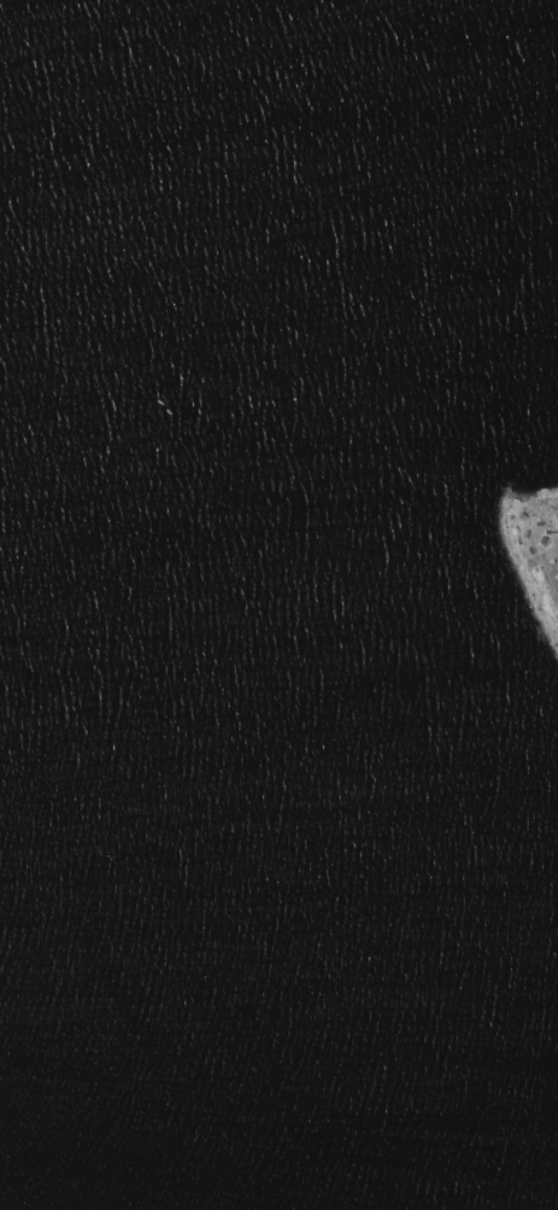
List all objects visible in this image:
road: (552, 530)

